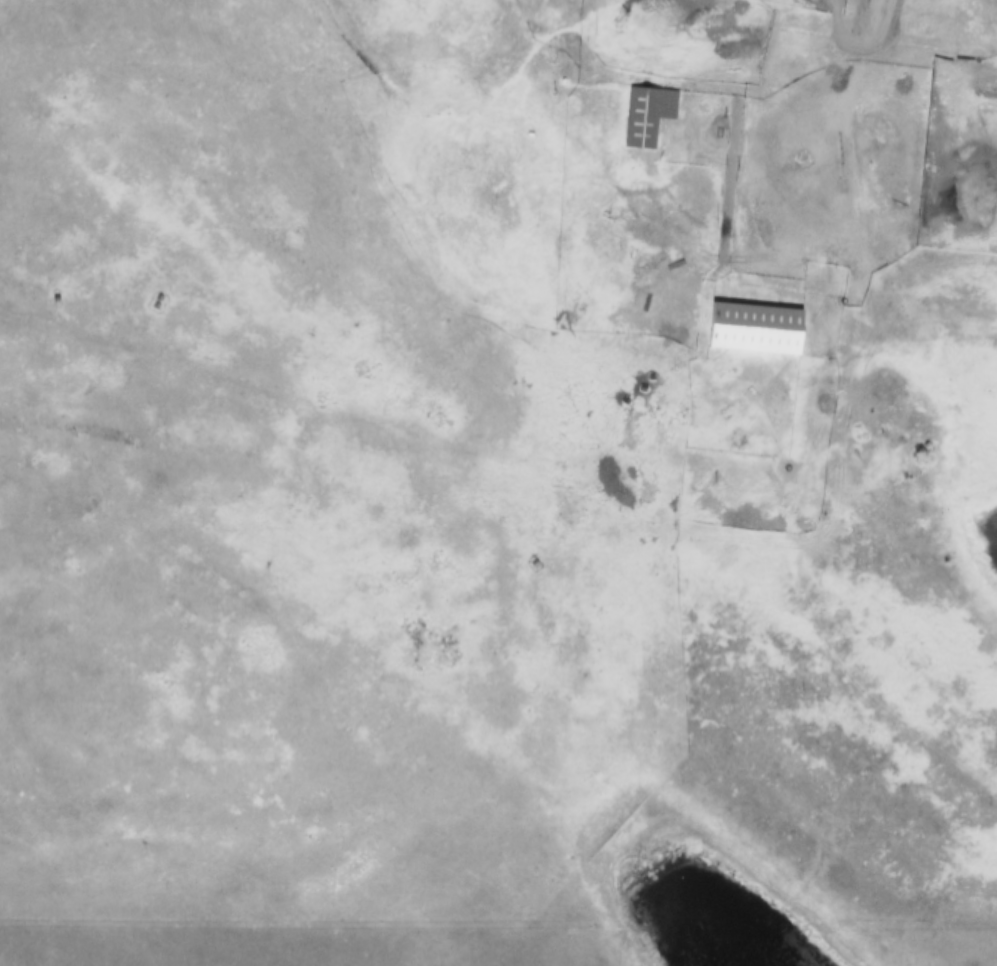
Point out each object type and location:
building: (647, 116)

